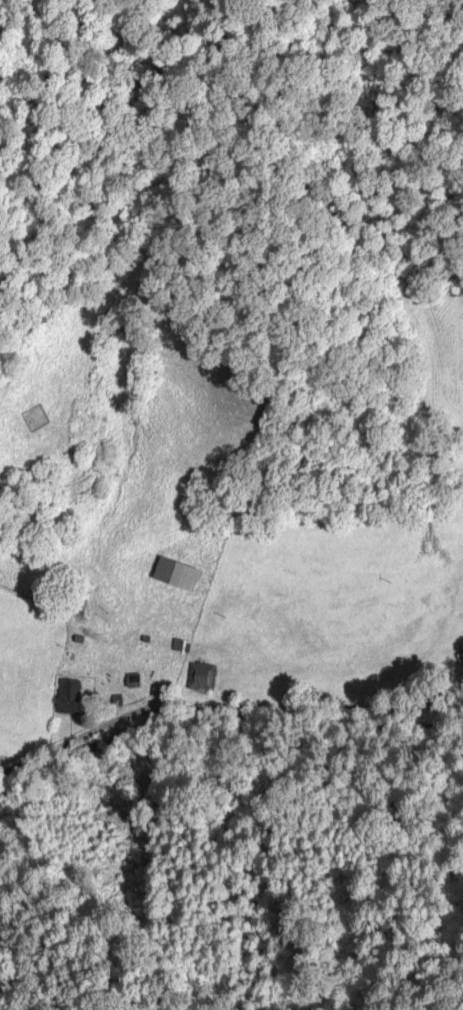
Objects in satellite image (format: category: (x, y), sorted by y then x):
building: (178, 575)
building: (202, 678)
building: (70, 697)
road: (244, 718)
road: (23, 764)
road: (5, 771)

